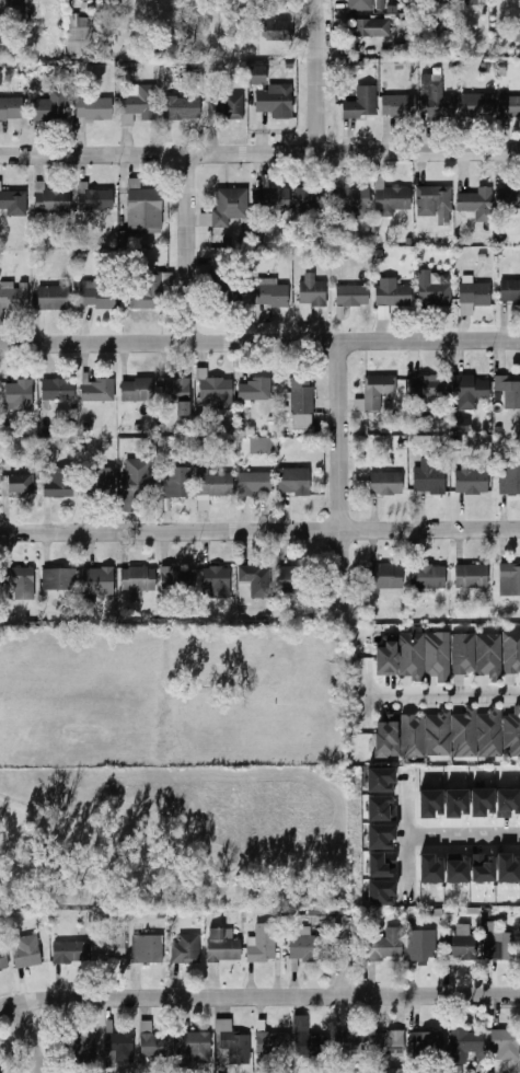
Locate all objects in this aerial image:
building: (472, 2)
building: (360, 4)
building: (16, 5)
building: (268, 7)
building: (1, 27)
building: (370, 27)
building: (277, 30)
building: (513, 34)
building: (80, 39)
building: (429, 45)
building: (396, 51)
road: (320, 72)
building: (257, 76)
building: (139, 100)
building: (276, 100)
building: (438, 100)
building: (362, 103)
building: (478, 104)
building: (400, 105)
building: (510, 105)
building: (53, 106)
building: (230, 107)
building: (11, 108)
building: (95, 108)
building: (182, 108)
road: (259, 146)
building: (509, 197)
building: (392, 198)
building: (274, 199)
building: (313, 199)
building: (51, 200)
building: (97, 200)
building: (354, 200)
building: (435, 200)
building: (473, 201)
building: (14, 203)
building: (232, 207)
building: (143, 208)
road: (190, 246)
building: (220, 257)
building: (149, 289)
building: (228, 290)
building: (434, 290)
building: (510, 290)
building: (313, 291)
building: (271, 292)
building: (394, 295)
building: (353, 296)
building: (473, 297)
building: (54, 298)
building: (97, 298)
building: (13, 299)
building: (383, 312)
road: (259, 344)
building: (427, 386)
building: (255, 389)
building: (470, 389)
building: (58, 390)
building: (99, 390)
building: (138, 390)
building: (378, 391)
building: (216, 392)
building: (302, 393)
building: (176, 394)
building: (20, 395)
building: (509, 395)
building: (461, 425)
building: (262, 446)
road: (344, 480)
building: (430, 480)
building: (513, 480)
building: (100, 482)
building: (137, 482)
building: (294, 482)
building: (473, 482)
building: (178, 483)
building: (20, 484)
building: (60, 484)
building: (218, 484)
building: (255, 484)
building: (386, 484)
road: (259, 532)
building: (472, 575)
building: (386, 576)
building: (429, 576)
building: (139, 579)
building: (510, 579)
building: (60, 580)
building: (178, 580)
building: (291, 580)
building: (97, 581)
building: (218, 581)
building: (255, 582)
building: (21, 584)
building: (489, 653)
building: (512, 653)
building: (412, 654)
building: (438, 654)
building: (464, 654)
building: (388, 658)
road: (368, 695)
road: (443, 696)
building: (490, 732)
building: (513, 732)
building: (413, 735)
building: (439, 735)
building: (464, 735)
building: (388, 737)
building: (482, 801)
building: (430, 803)
building: (507, 803)
road: (466, 841)
building: (430, 868)
building: (457, 868)
building: (482, 868)
building: (508, 868)
building: (263, 944)
building: (497, 944)
building: (223, 945)
building: (305, 945)
building: (388, 945)
building: (463, 945)
building: (424, 946)
building: (148, 949)
building: (109, 950)
building: (187, 950)
building: (26, 953)
building: (70, 953)
road: (346, 956)
building: (2, 960)
road: (258, 999)
road: (35, 1039)
building: (155, 1042)
building: (350, 1043)
building: (390, 1043)
building: (274, 1045)
building: (313, 1045)
building: (429, 1045)
building: (464, 1045)
building: (506, 1045)
building: (232, 1046)
building: (197, 1047)
building: (79, 1048)
building: (119, 1049)
building: (0, 1071)

